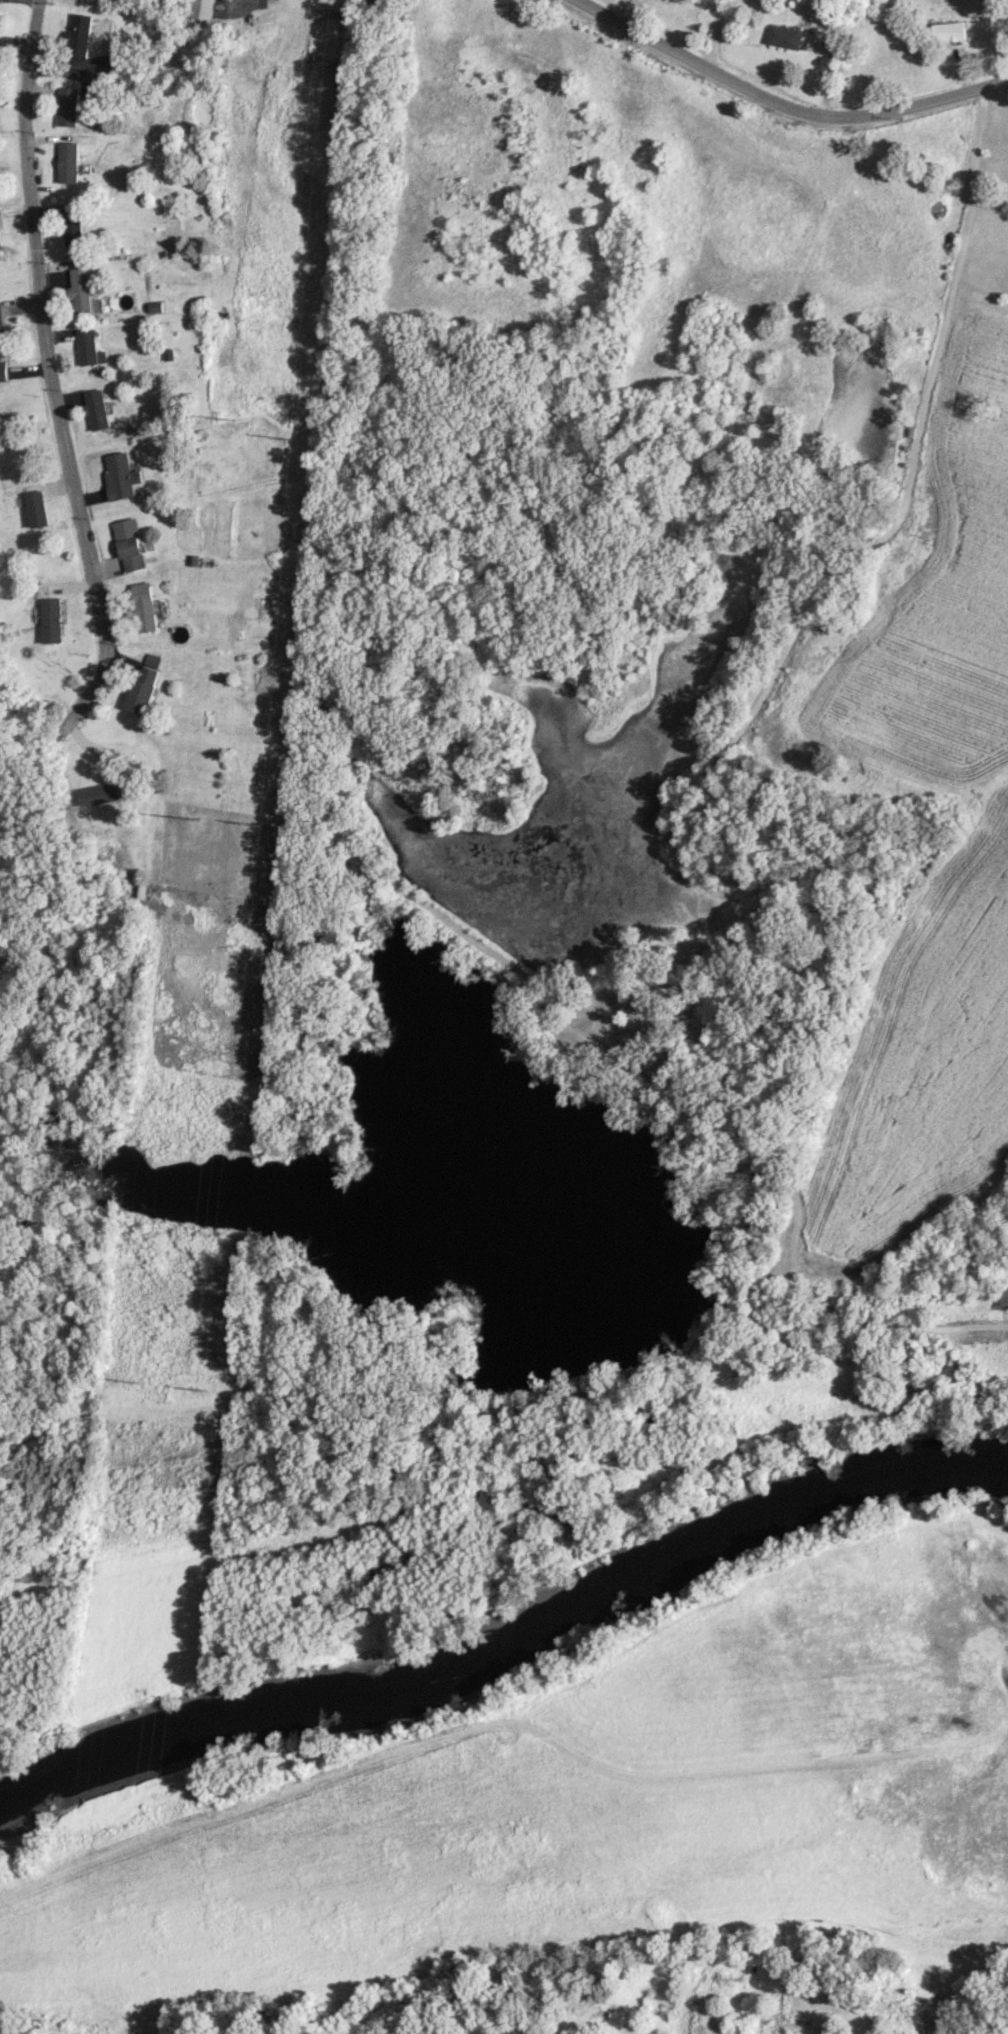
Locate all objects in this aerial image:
building: (202, 9)
road: (1000, 17)
building: (948, 31)
building: (81, 32)
building: (786, 36)
road: (785, 105)
building: (68, 106)
road: (975, 149)
building: (69, 162)
building: (73, 226)
building: (1, 232)
building: (81, 290)
building: (156, 308)
building: (2, 323)
building: (90, 347)
building: (4, 370)
road: (71, 398)
building: (97, 409)
power tower: (227, 417)
power tower: (290, 436)
building: (121, 475)
building: (38, 508)
building: (130, 544)
building: (145, 606)
building: (52, 619)
building: (144, 684)
building: (101, 793)
power tower: (195, 815)
power tower: (256, 820)
power tower: (138, 1381)
power tower: (203, 1385)

